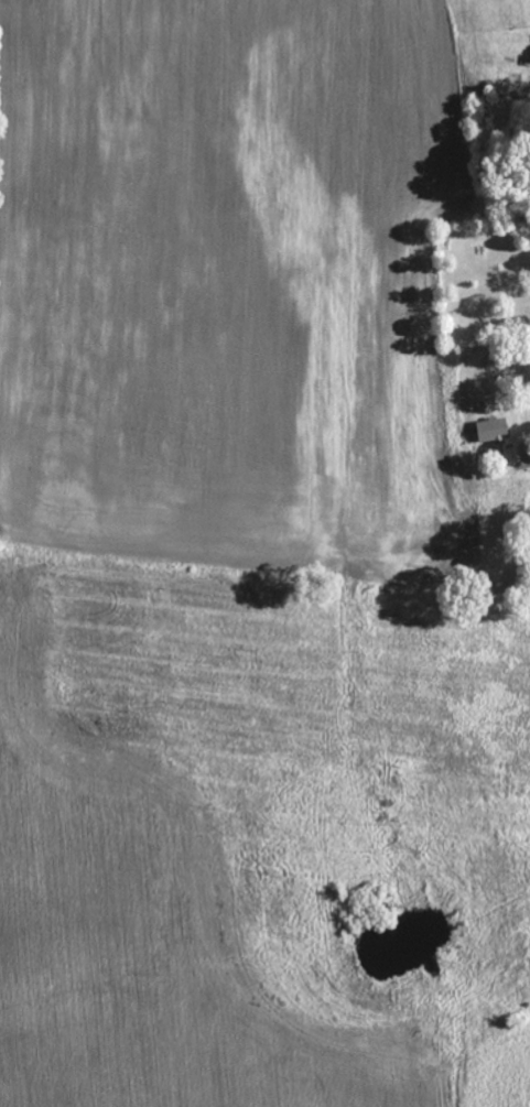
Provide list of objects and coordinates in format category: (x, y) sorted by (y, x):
building: (493, 432)
road: (529, 468)

